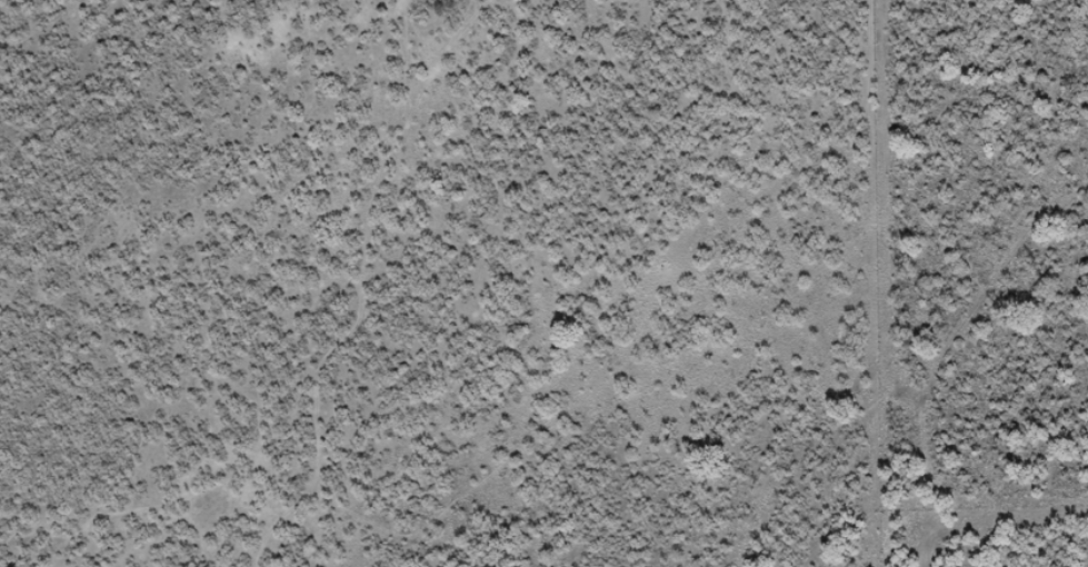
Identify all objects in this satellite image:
road: (325, 277)
road: (882, 283)

